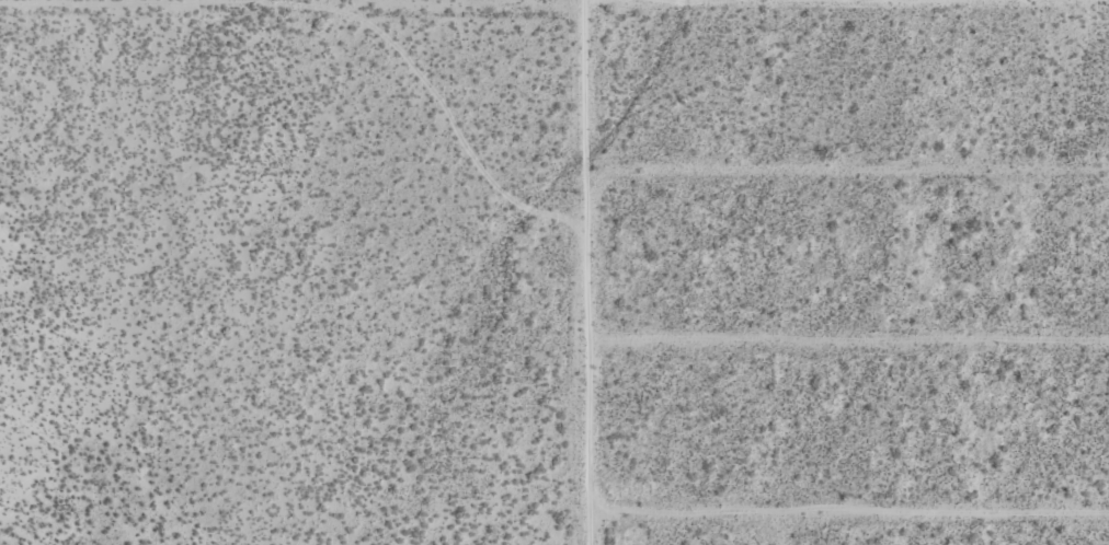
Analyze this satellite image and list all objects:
road: (554, 16)
road: (846, 172)
road: (585, 272)
road: (847, 340)
road: (848, 518)
road: (785, 531)

